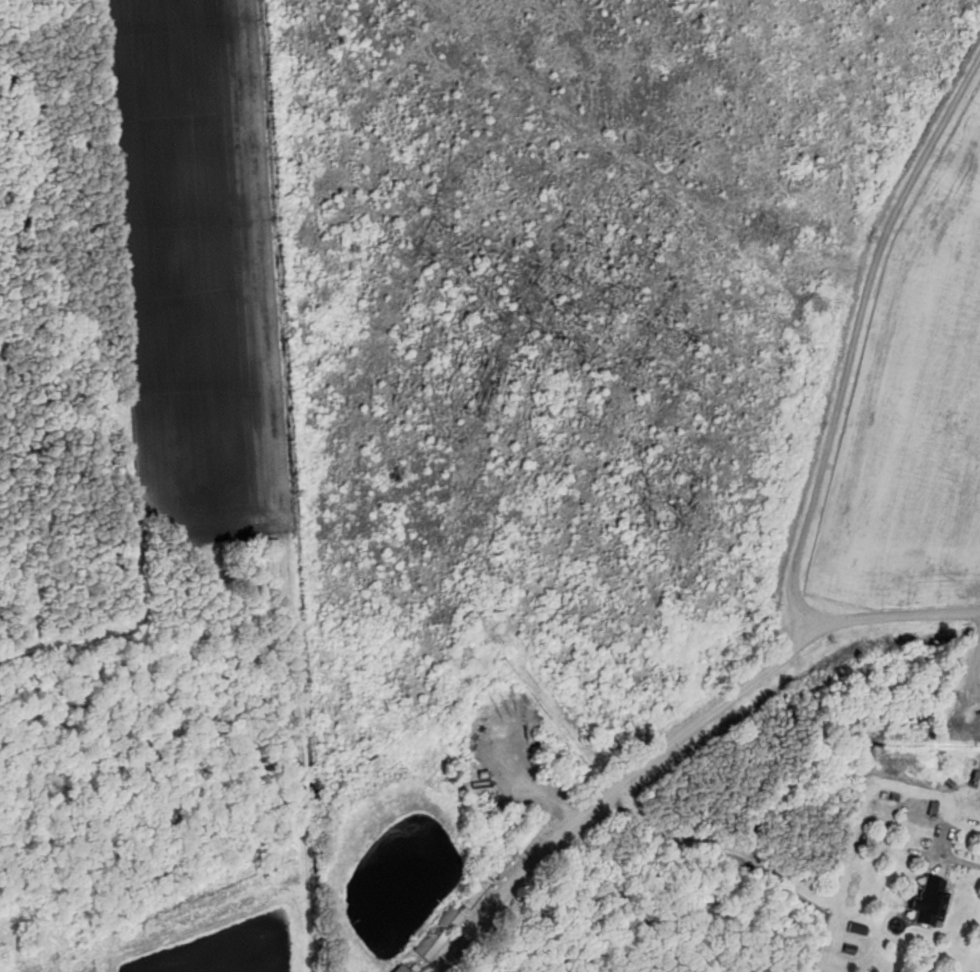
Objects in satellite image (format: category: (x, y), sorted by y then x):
road: (679, 737)
building: (516, 835)
road: (961, 863)
building: (922, 901)
building: (433, 934)
building: (395, 969)

